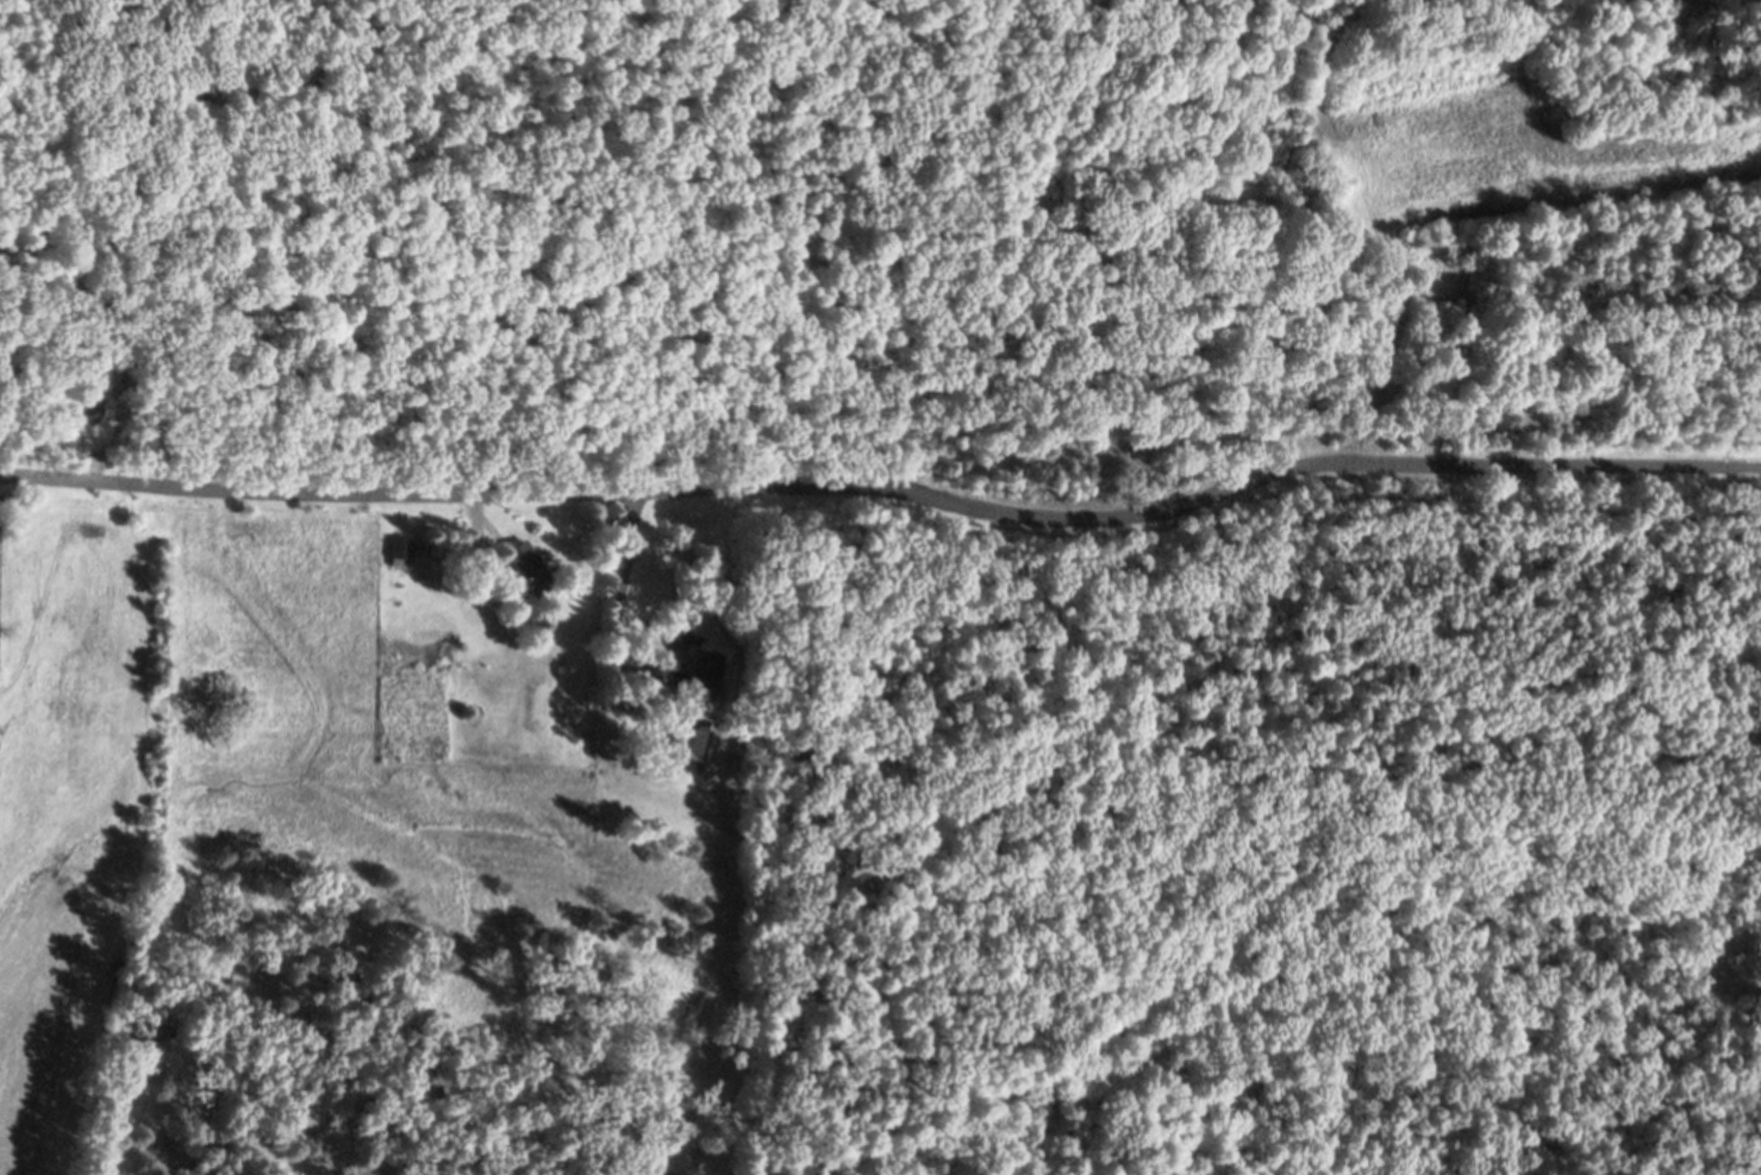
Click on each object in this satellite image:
road: (1362, 269)
road: (885, 489)
building: (401, 557)
building: (527, 573)
road: (613, 606)
building: (706, 683)

